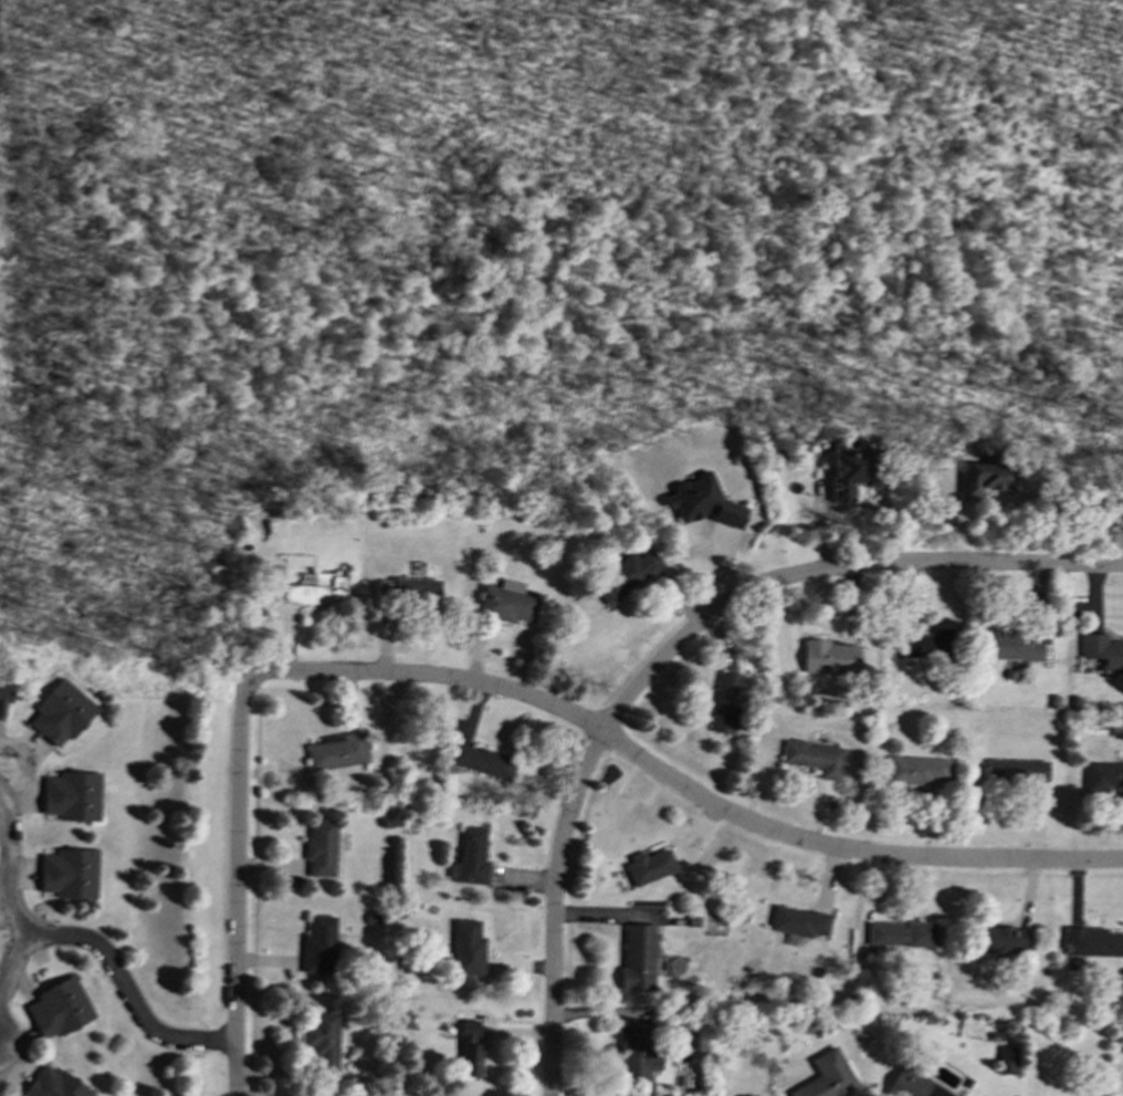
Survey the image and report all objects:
building: (850, 472)
building: (983, 477)
building: (702, 502)
road: (830, 570)
building: (623, 576)
building: (315, 589)
building: (408, 592)
building: (505, 602)
building: (928, 645)
building: (1010, 646)
building: (1102, 651)
building: (829, 657)
building: (3, 692)
building: (724, 703)
building: (61, 712)
building: (337, 752)
building: (814, 756)
building: (481, 761)
building: (914, 770)
building: (1015, 771)
building: (1102, 775)
road: (681, 786)
building: (72, 796)
road: (238, 825)
building: (321, 848)
building: (470, 858)
building: (648, 866)
building: (70, 874)
road: (553, 910)
building: (798, 921)
building: (900, 933)
building: (1001, 940)
road: (84, 941)
building: (1092, 942)
building: (318, 944)
building: (466, 948)
building: (637, 957)
road: (12, 963)
building: (60, 1008)
building: (319, 1041)
building: (470, 1047)
building: (637, 1054)
building: (1006, 1060)
building: (827, 1076)
building: (55, 1084)
building: (913, 1085)
building: (0, 1094)

